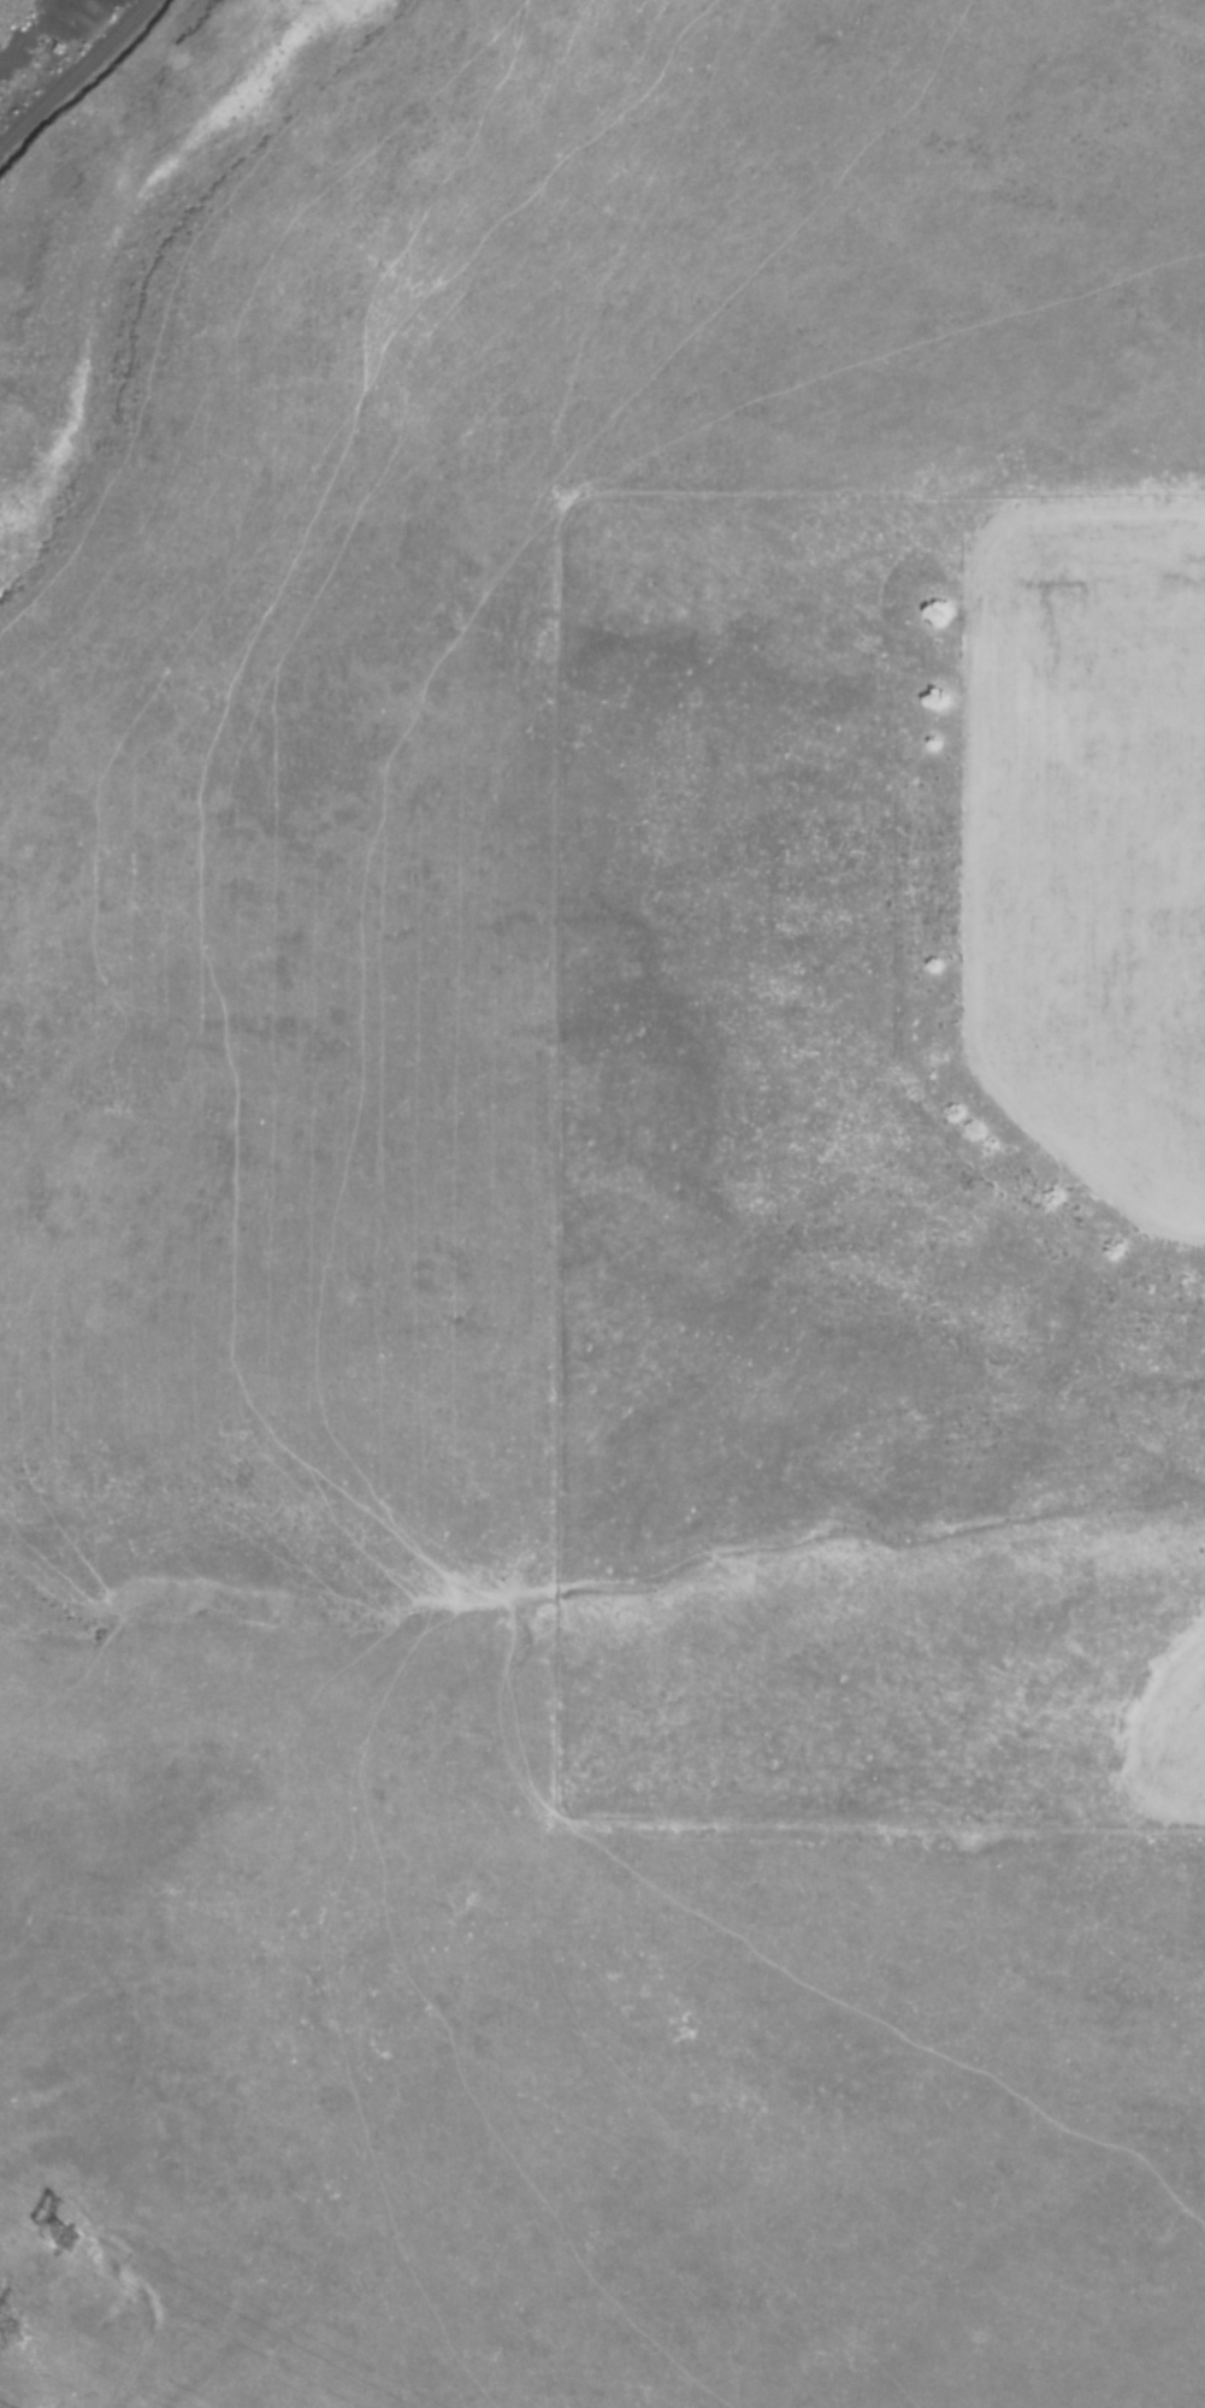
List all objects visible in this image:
road: (72, 72)
power tower: (59, 2236)
power tower: (13, 2331)

